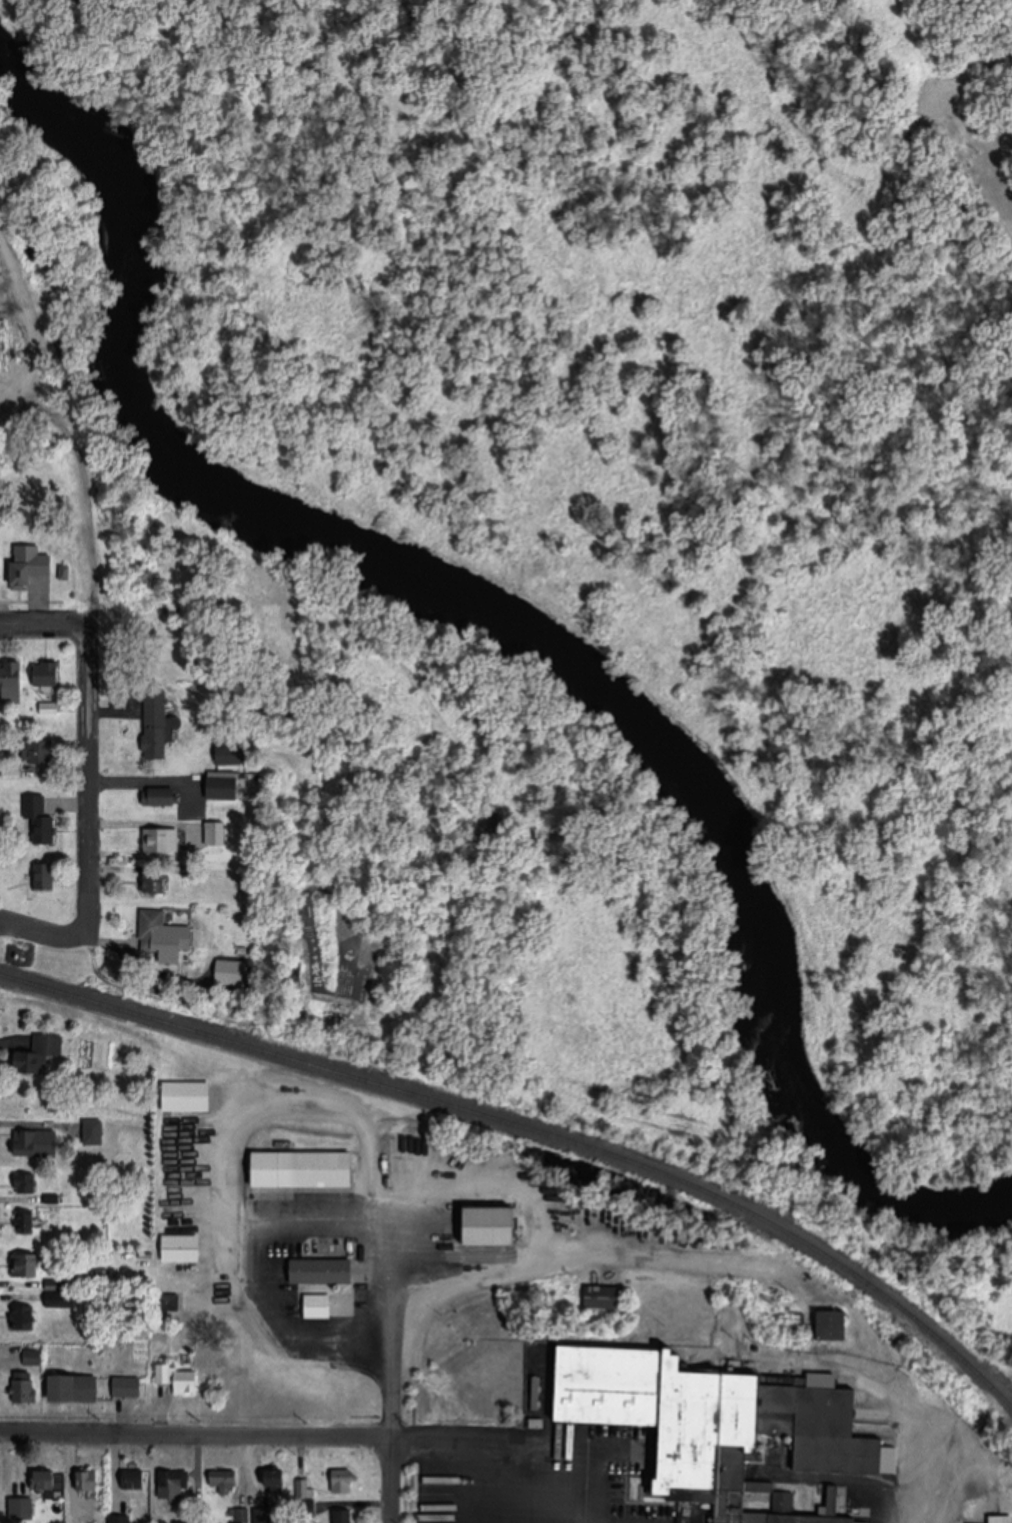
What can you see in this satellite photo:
river: (10, 19)
road: (25, 344)
road: (12, 397)
road: (81, 463)
building: (31, 563)
road: (29, 600)
road: (43, 616)
river: (487, 638)
building: (48, 673)
building: (155, 725)
road: (83, 729)
building: (228, 754)
building: (224, 787)
building: (40, 819)
building: (216, 833)
building: (165, 839)
building: (45, 876)
building: (154, 883)
building: (153, 930)
road: (52, 931)
building: (42, 1056)
building: (187, 1097)
railway: (535, 1131)
building: (35, 1144)
building: (304, 1170)
building: (25, 1185)
building: (495, 1225)
building: (181, 1249)
road: (390, 1249)
road: (680, 1257)
building: (26, 1264)
building: (322, 1271)
road: (243, 1275)
building: (59, 1295)
building: (606, 1297)
building: (317, 1307)
building: (23, 1318)
building: (831, 1325)
building: (32, 1357)
building: (179, 1379)
building: (128, 1387)
building: (76, 1388)
building: (25, 1391)
road: (875, 1395)
building: (714, 1425)
road: (193, 1435)
road: (498, 1458)
building: (224, 1478)
building: (135, 1480)
building: (45, 1481)
building: (88, 1481)
road: (385, 1481)
building: (345, 1482)
building: (174, 1483)
building: (304, 1490)
building: (1003, 1519)

